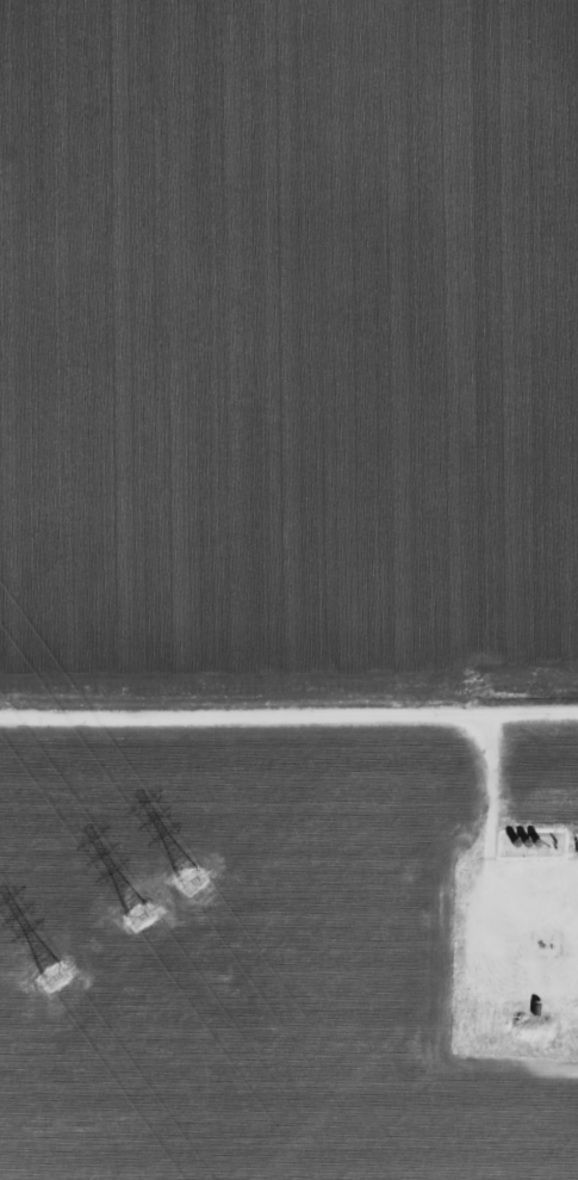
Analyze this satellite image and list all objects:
power tower: (194, 888)
power tower: (143, 920)
power tower: (57, 982)

